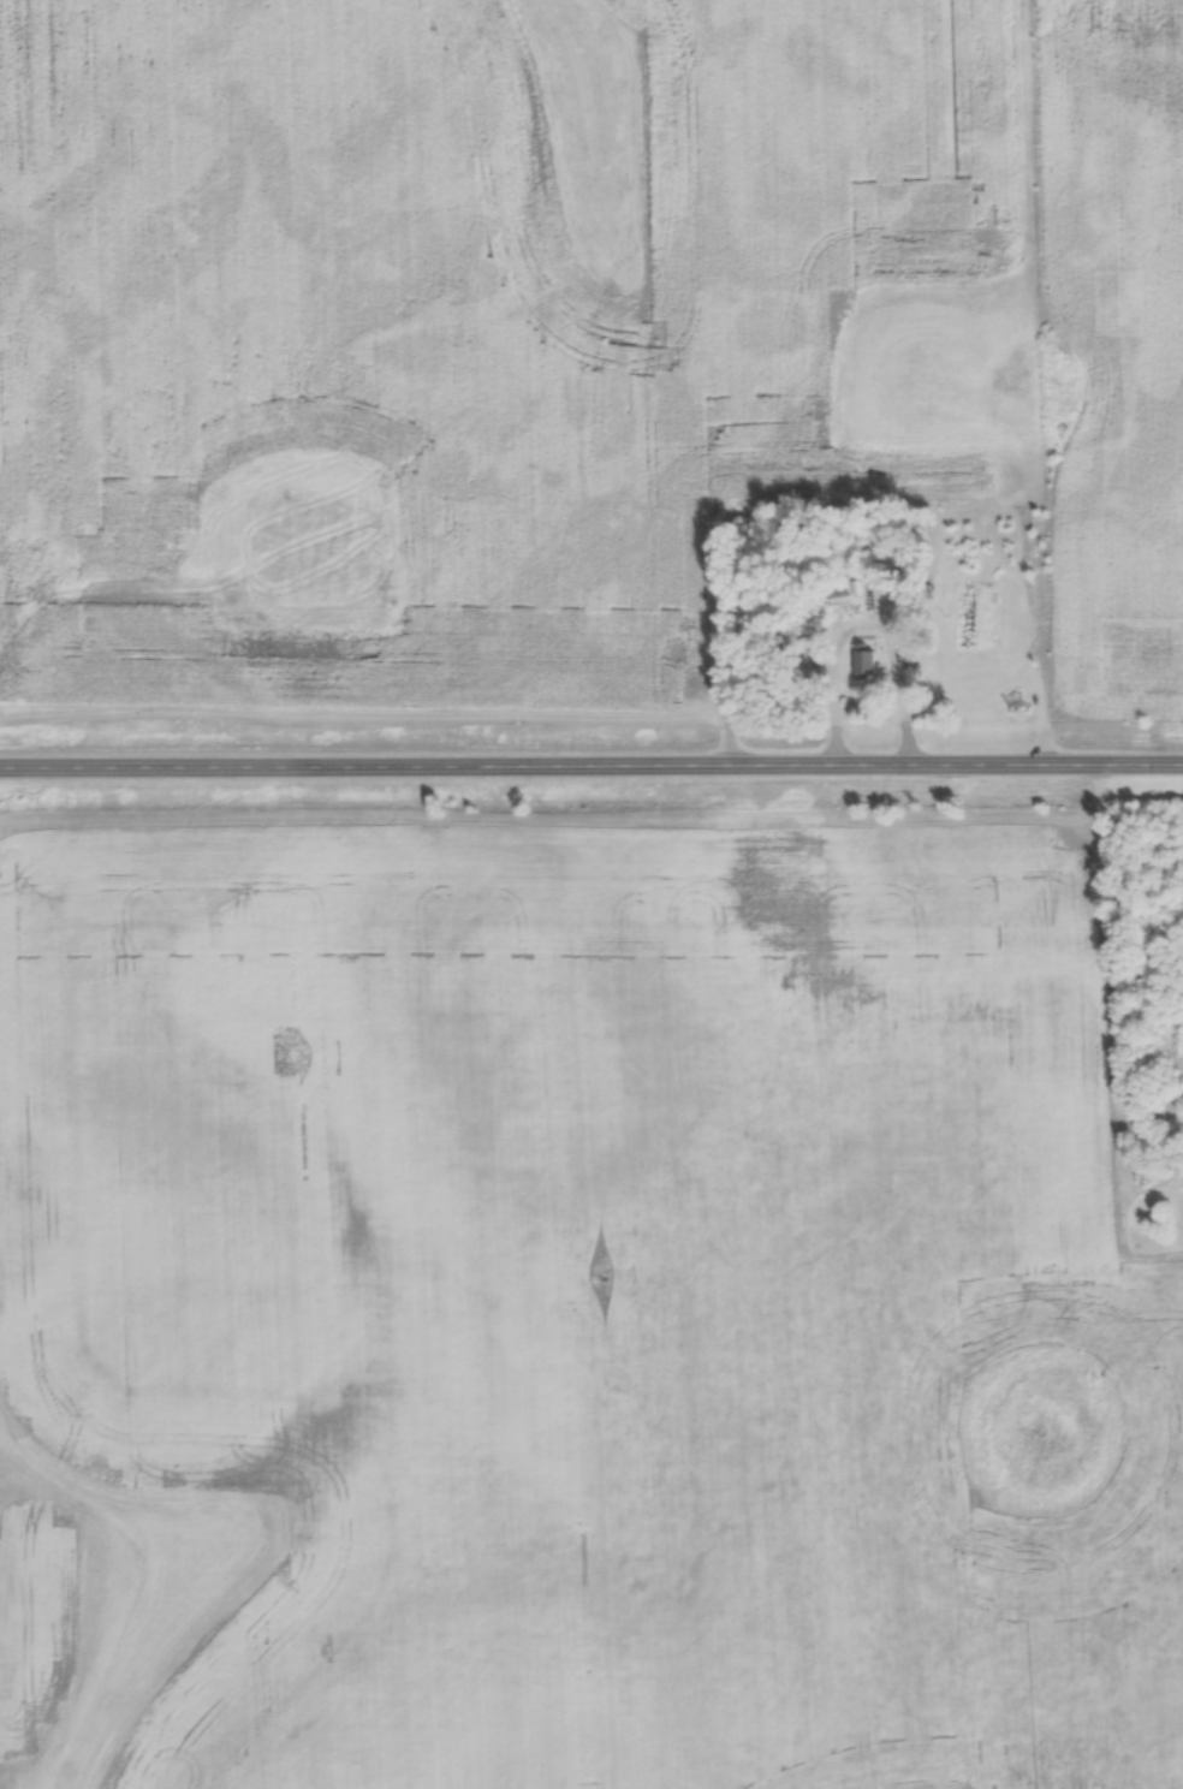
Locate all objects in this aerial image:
building: (886, 600)
road: (868, 622)
building: (864, 665)
road: (590, 765)

